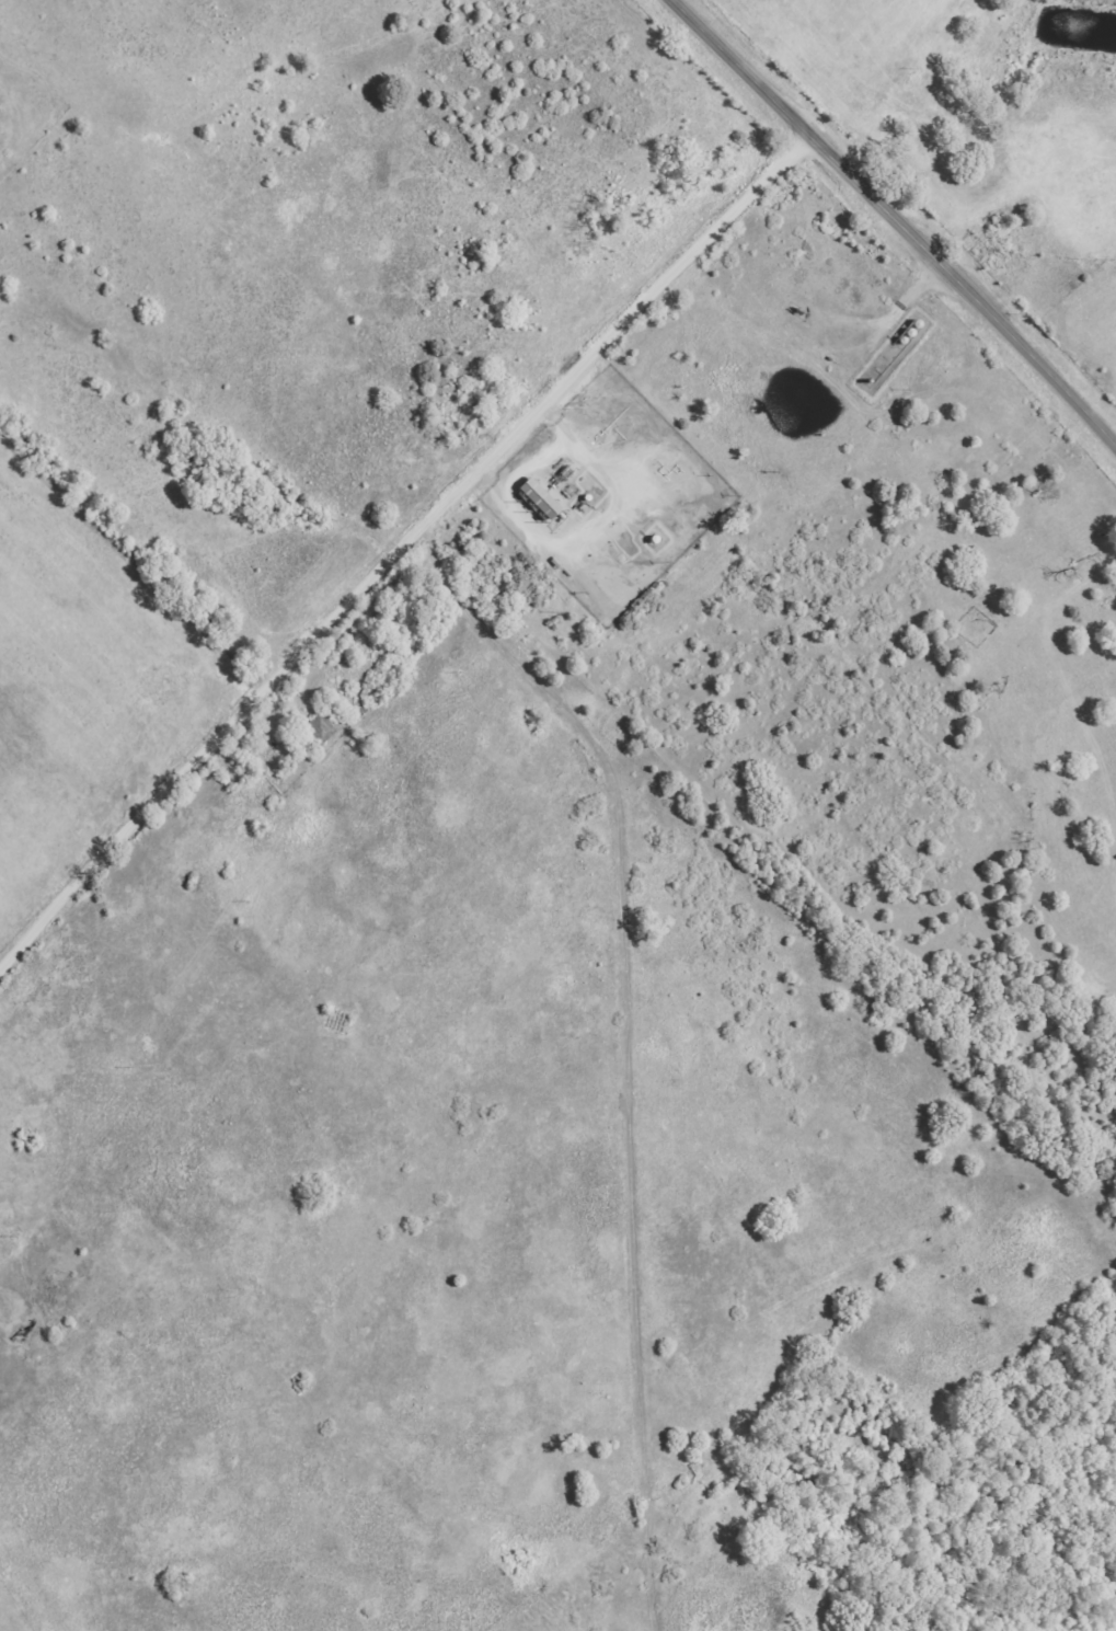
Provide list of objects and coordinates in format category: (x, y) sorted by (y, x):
road: (536, 38)
road: (897, 220)
petroleum well: (799, 311)
building: (544, 498)
road: (401, 547)
petroleum well: (27, 1331)

